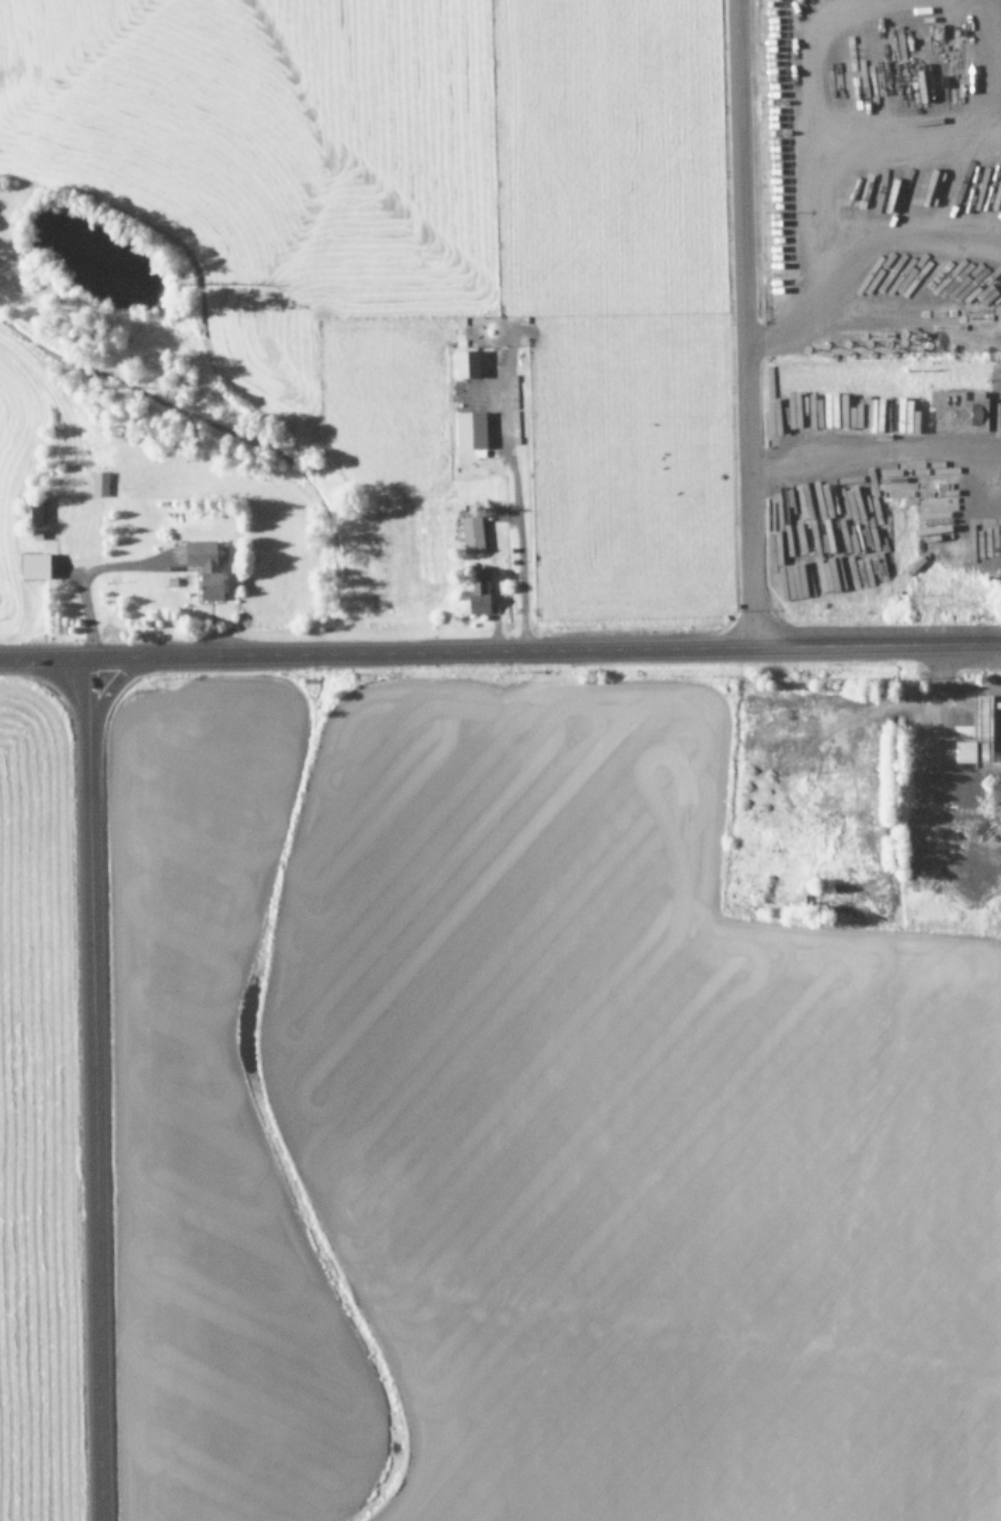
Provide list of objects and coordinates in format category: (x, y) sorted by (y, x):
crop: (365, 298)
road: (745, 323)
building: (464, 363)
building: (956, 409)
building: (468, 430)
building: (27, 511)
building: (470, 534)
building: (32, 566)
building: (203, 568)
building: (478, 592)
road: (541, 651)
road: (41, 661)
building: (974, 734)
building: (1000, 760)
road: (89, 1091)
crop: (23, 1129)

